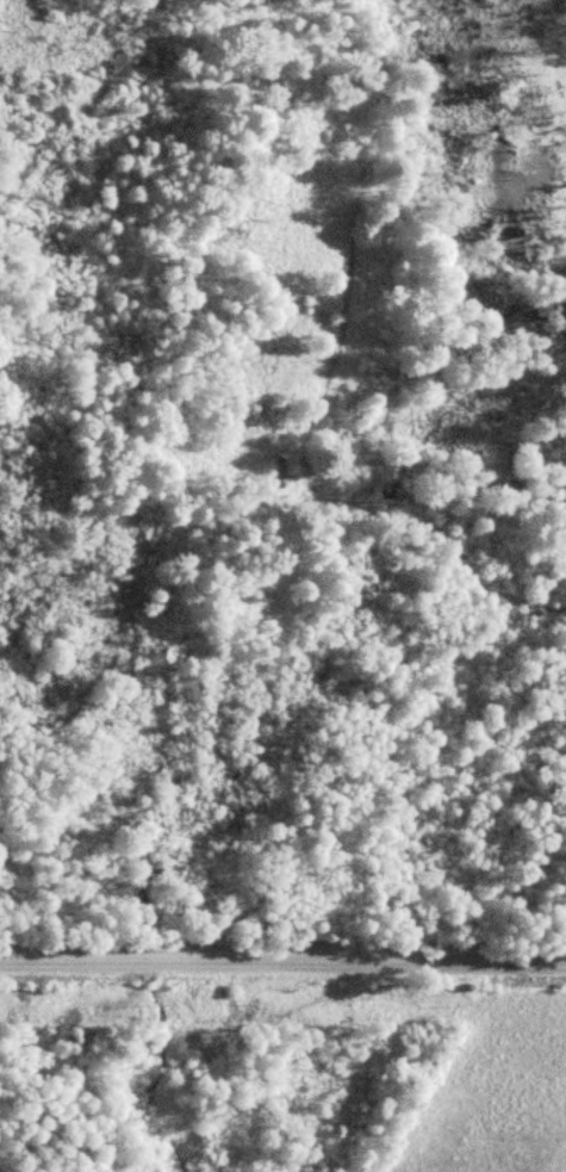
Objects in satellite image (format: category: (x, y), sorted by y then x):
road: (282, 929)

